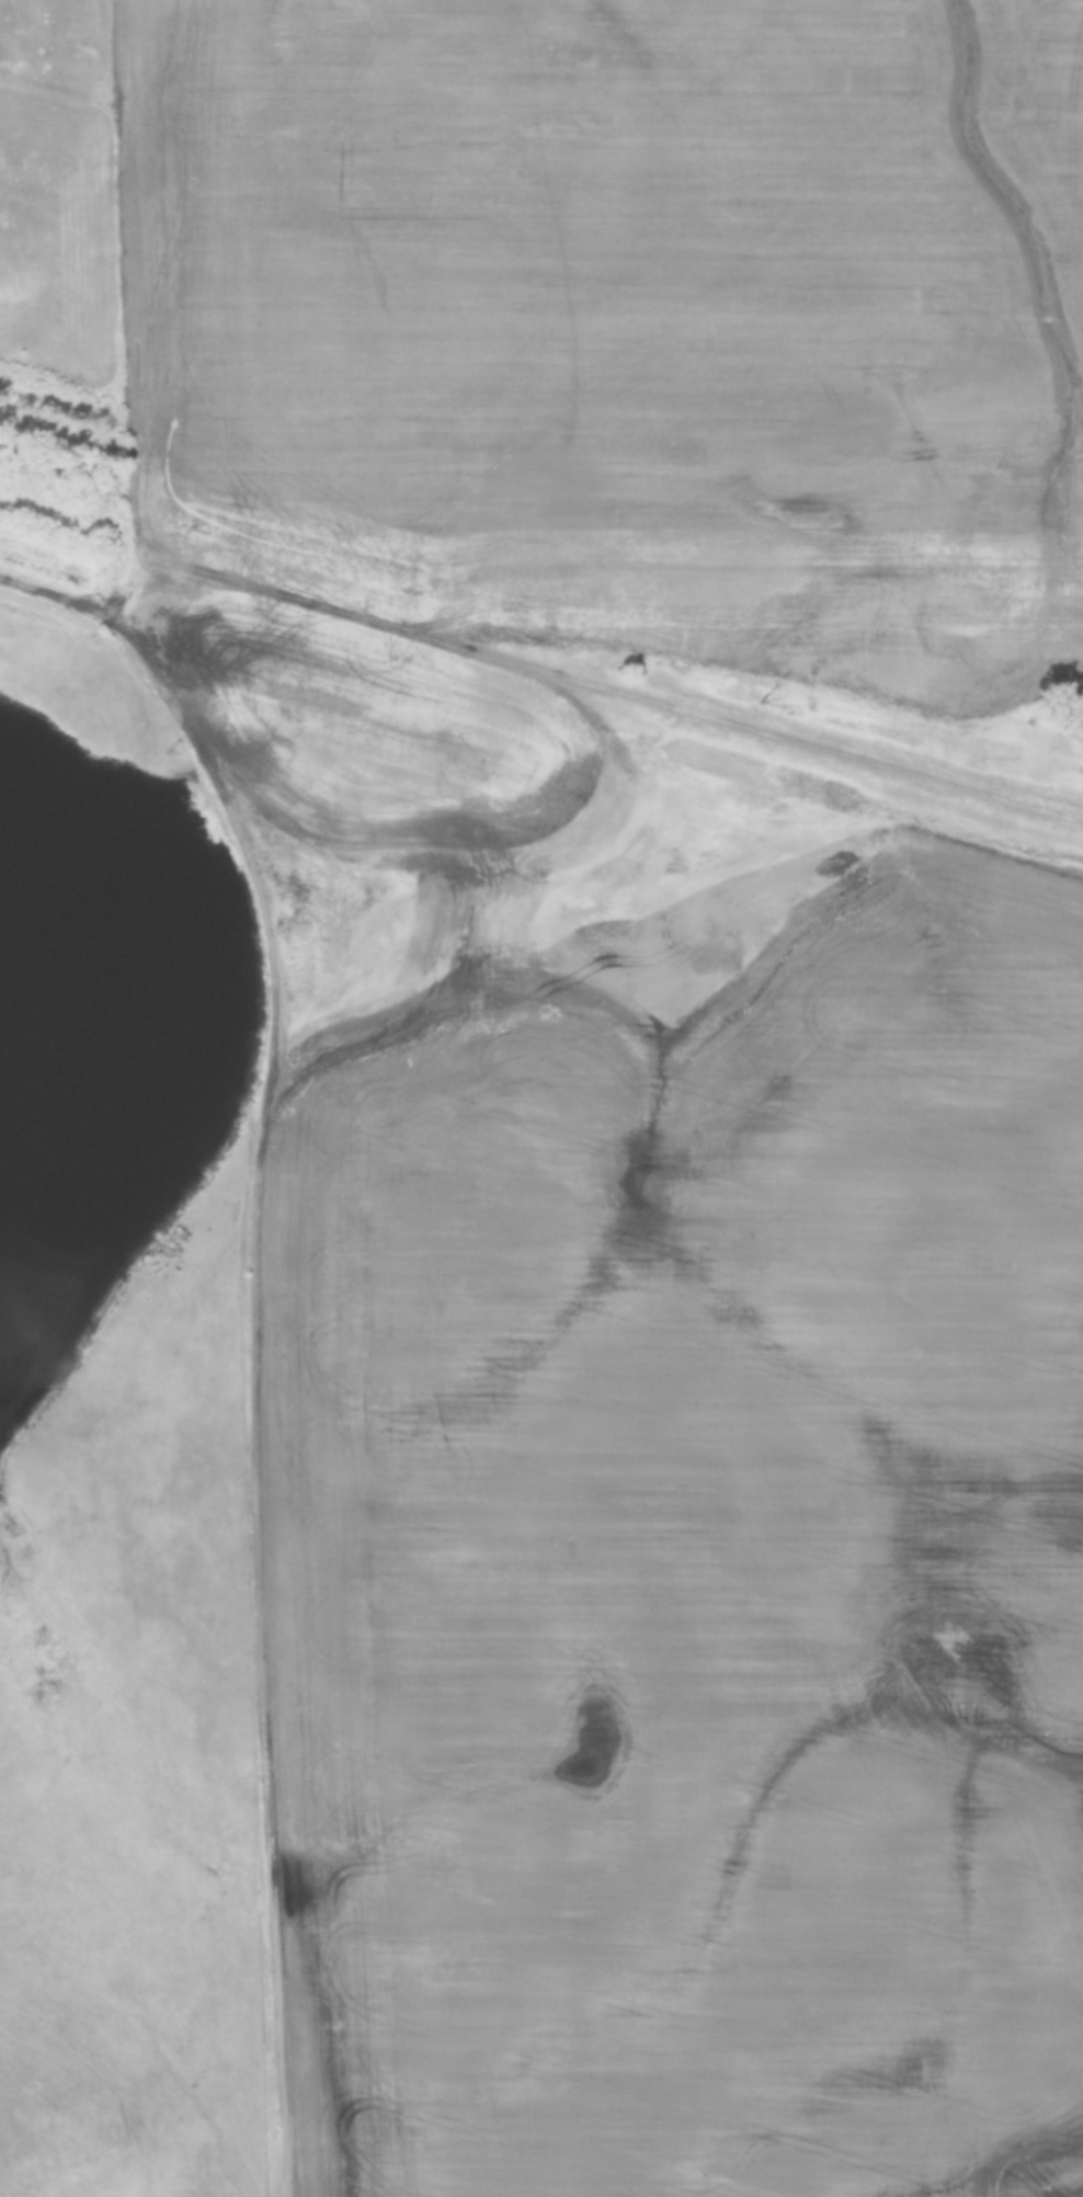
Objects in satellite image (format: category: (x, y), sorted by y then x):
road: (254, 1325)

